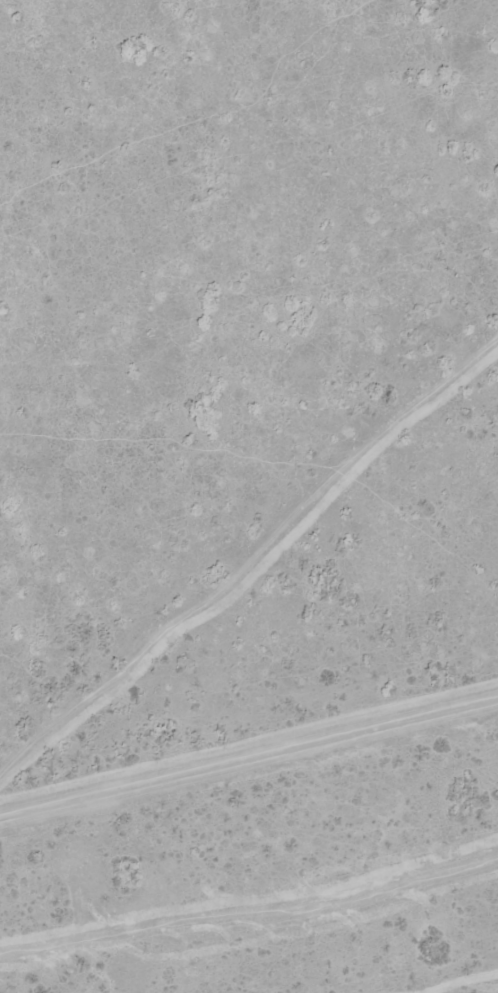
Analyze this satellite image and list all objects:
road: (249, 764)
road: (22, 789)

